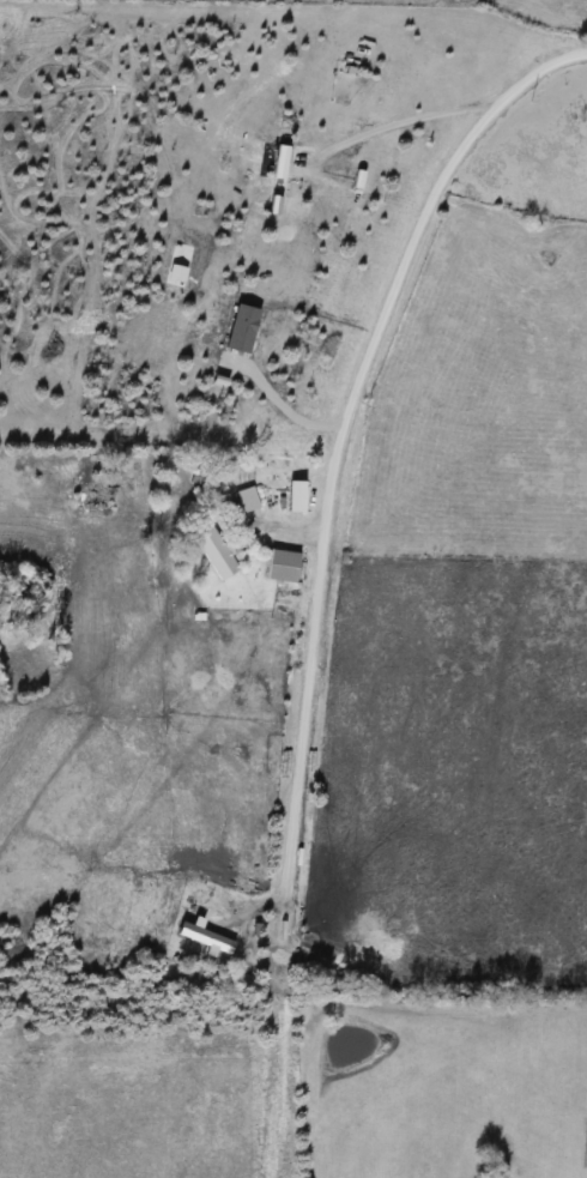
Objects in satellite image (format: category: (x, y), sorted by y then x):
road: (393, 121)
road: (329, 454)
building: (291, 502)
building: (210, 550)
building: (277, 566)

